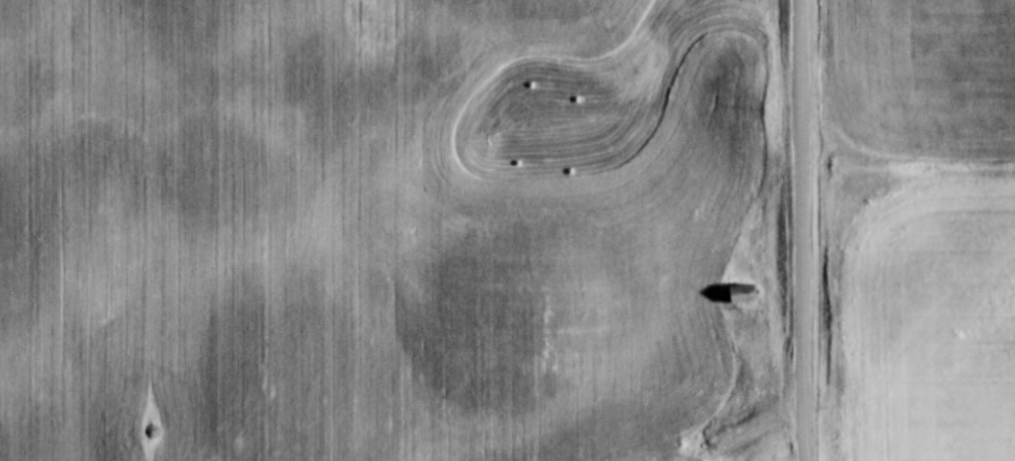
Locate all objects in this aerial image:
road: (797, 230)
building: (742, 294)
road: (744, 434)

